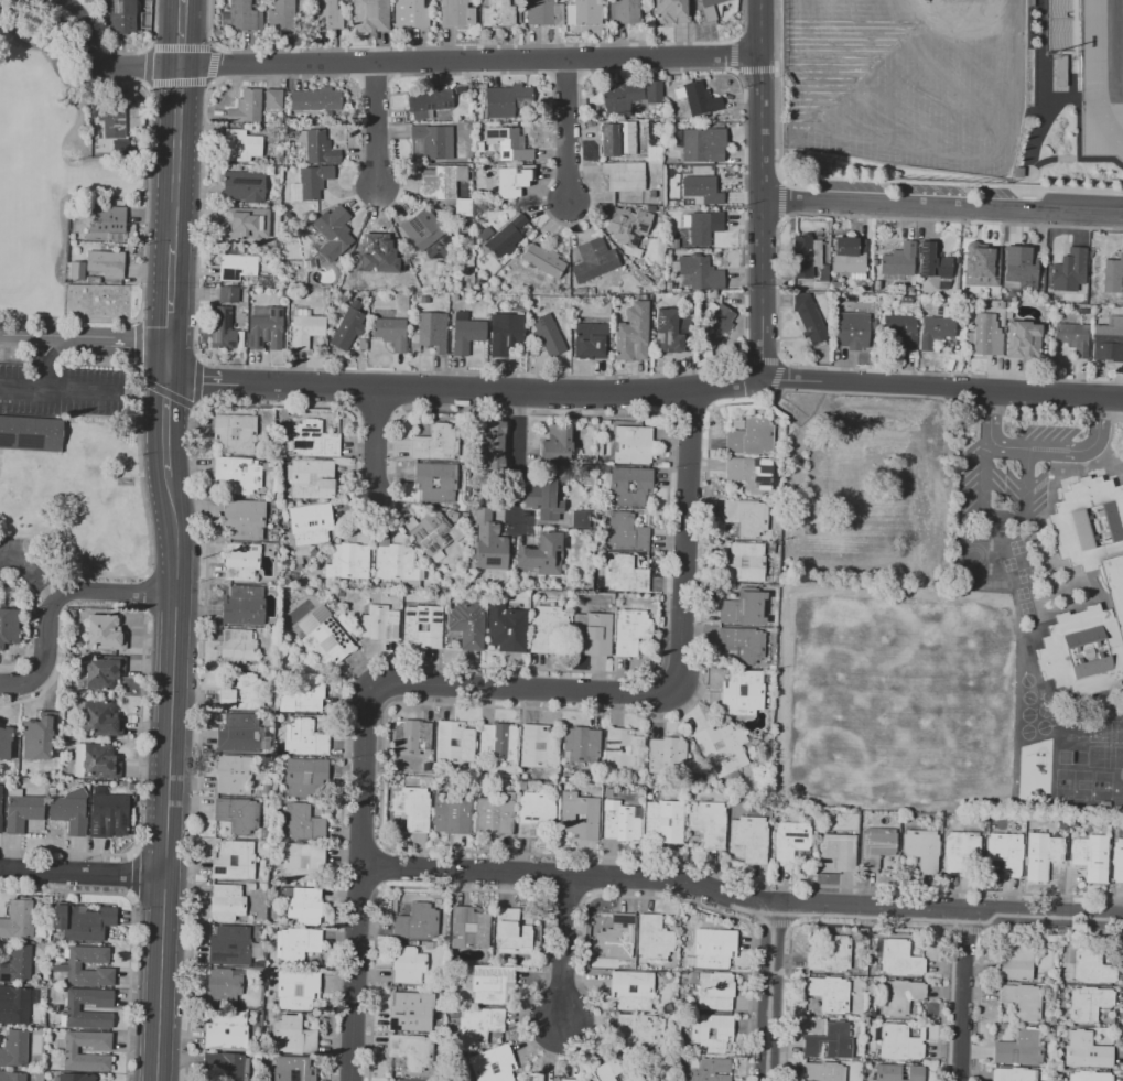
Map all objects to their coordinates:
building: (90, 2)
building: (1029, 2)
building: (713, 9)
building: (673, 11)
building: (627, 12)
building: (547, 13)
building: (590, 13)
building: (328, 14)
building: (413, 14)
building: (460, 14)
building: (500, 14)
building: (284, 15)
building: (372, 15)
building: (125, 17)
building: (245, 17)
road: (207, 23)
road: (153, 24)
building: (1063, 25)
road: (89, 26)
park: (1122, 31)
road: (180, 33)
park: (1115, 45)
road: (214, 46)
road: (147, 48)
road: (180, 48)
road: (43, 50)
road: (120, 52)
road: (1039, 56)
road: (429, 60)
road: (210, 64)
road: (147, 65)
traffic signals: (179, 67)
building: (1060, 71)
park: (914, 77)
road: (117, 78)
road: (176, 82)
road: (210, 83)
road: (144, 84)
road: (1098, 84)
track: (1098, 84)
building: (655, 93)
building: (623, 99)
building: (701, 99)
road: (759, 99)
building: (276, 100)
building: (318, 101)
building: (431, 102)
building: (510, 102)
building: (248, 108)
building: (115, 120)
road: (376, 123)
road: (564, 128)
road: (1079, 128)
building: (620, 140)
road: (1035, 140)
building: (433, 141)
building: (510, 143)
building: (122, 145)
building: (706, 145)
building: (242, 148)
building: (322, 149)
road: (175, 155)
road: (1075, 160)
building: (627, 177)
building: (316, 182)
building: (511, 182)
park: (23, 183)
building: (441, 183)
parking lot: (845, 186)
park: (55, 187)
building: (246, 188)
building: (704, 190)
parking lot: (932, 190)
parking lot: (993, 193)
road: (144, 202)
road: (940, 205)
building: (110, 221)
road: (198, 221)
building: (249, 225)
building: (630, 227)
building: (705, 227)
building: (336, 234)
building: (424, 234)
building: (509, 238)
building: (808, 257)
building: (852, 258)
building: (388, 259)
building: (547, 261)
building: (596, 261)
building: (108, 264)
building: (901, 264)
building: (937, 266)
building: (239, 268)
building: (986, 268)
building: (1023, 269)
building: (79, 272)
building: (701, 273)
building: (1072, 273)
building: (1113, 274)
building: (823, 279)
building: (836, 287)
road: (759, 289)
road: (776, 289)
road: (170, 291)
building: (230, 295)
building: (908, 301)
road: (67, 318)
road: (137, 320)
building: (811, 321)
building: (719, 324)
building: (854, 328)
building: (941, 328)
building: (223, 329)
building: (268, 331)
building: (350, 331)
building: (903, 331)
building: (309, 332)
building: (676, 333)
building: (393, 334)
building: (435, 334)
building: (507, 334)
building: (635, 334)
road: (26, 336)
road: (78, 336)
building: (550, 336)
building: (987, 336)
road: (136, 337)
building: (469, 337)
building: (1076, 338)
building: (1025, 340)
building: (1109, 340)
building: (593, 342)
road: (138, 343)
road: (169, 356)
road: (41, 359)
road: (139, 371)
traffic signals: (169, 374)
road: (197, 381)
road: (20, 386)
road: (941, 387)
parking lot: (62, 389)
road: (78, 389)
road: (164, 392)
road: (463, 392)
road: (193, 406)
road: (165, 425)
building: (237, 434)
building: (32, 435)
building: (754, 436)
building: (317, 441)
road: (375, 442)
building: (440, 443)
building: (638, 445)
building: (497, 447)
building: (559, 447)
road: (1067, 450)
road: (516, 458)
building: (860, 461)
building: (752, 474)
building: (240, 475)
parking lot: (1009, 475)
building: (314, 478)
building: (438, 482)
building: (631, 486)
building: (549, 499)
road: (983, 508)
building: (748, 517)
building: (246, 520)
building: (582, 520)
building: (313, 525)
building: (628, 532)
building: (432, 533)
building: (492, 543)
building: (544, 555)
building: (352, 561)
building: (746, 561)
building: (926, 561)
building: (244, 562)
building: (398, 564)
road: (31, 572)
building: (627, 575)
building: (1114, 587)
road: (57, 595)
building: (246, 607)
building: (746, 607)
building: (381, 625)
building: (469, 626)
building: (425, 627)
building: (10, 628)
building: (509, 629)
building: (548, 629)
building: (634, 633)
building: (107, 635)
building: (595, 635)
building: (326, 639)
building: (744, 645)
building: (239, 649)
building: (106, 672)
road: (173, 677)
park: (856, 682)
road: (474, 688)
building: (746, 692)
building: (245, 694)
building: (305, 694)
road: (458, 704)
building: (104, 721)
building: (241, 734)
building: (41, 737)
building: (414, 737)
building: (307, 739)
building: (6, 744)
building: (500, 744)
building: (456, 745)
building: (583, 746)
building: (541, 748)
building: (626, 750)
building: (725, 750)
building: (670, 757)
building: (102, 764)
building: (235, 775)
building: (309, 779)
park: (1073, 785)
park: (1103, 786)
building: (1, 810)
building: (415, 810)
building: (455, 813)
building: (25, 814)
building: (537, 814)
building: (72, 815)
building: (239, 815)
building: (111, 817)
building: (497, 817)
building: (581, 817)
building: (624, 822)
building: (667, 822)
building: (304, 824)
building: (711, 824)
building: (753, 840)
building: (792, 842)
building: (878, 847)
building: (925, 850)
building: (842, 852)
building: (962, 852)
building: (1008, 853)
building: (1044, 856)
building: (1093, 857)
building: (1116, 860)
building: (236, 863)
building: (304, 864)
road: (83, 873)
road: (739, 898)
building: (229, 904)
building: (305, 907)
building: (19, 922)
building: (85, 923)
building: (419, 923)
building: (472, 930)
building: (515, 934)
building: (620, 937)
building: (656, 939)
building: (299, 945)
building: (233, 948)
road: (562, 950)
building: (715, 950)
building: (833, 956)
building: (903, 960)
building: (1018, 963)
building: (19, 966)
building: (411, 966)
building: (1093, 966)
building: (76, 968)
road: (160, 979)
building: (494, 985)
building: (226, 988)
building: (301, 991)
building: (634, 991)
building: (717, 992)
road: (767, 992)
building: (831, 994)
road: (961, 995)
building: (903, 997)
building: (1024, 1002)
building: (1091, 1005)
building: (15, 1006)
building: (74, 1010)
building: (413, 1012)
building: (480, 1027)
building: (644, 1031)
building: (228, 1033)
building: (725, 1035)
building: (295, 1037)
building: (832, 1041)
building: (904, 1044)
building: (1023, 1048)
building: (15, 1050)
building: (72, 1052)
building: (413, 1052)
building: (1089, 1052)
building: (496, 1066)
building: (227, 1068)
building: (295, 1070)
building: (622, 1070)
building: (710, 1070)
building: (824, 1072)
building: (901, 1073)
building: (1016, 1075)
building: (13, 1077)
building: (532, 1077)
building: (540, 1077)
building: (1092, 1077)
building: (78, 1078)
building: (400, 1080)
building: (575, 1080)

